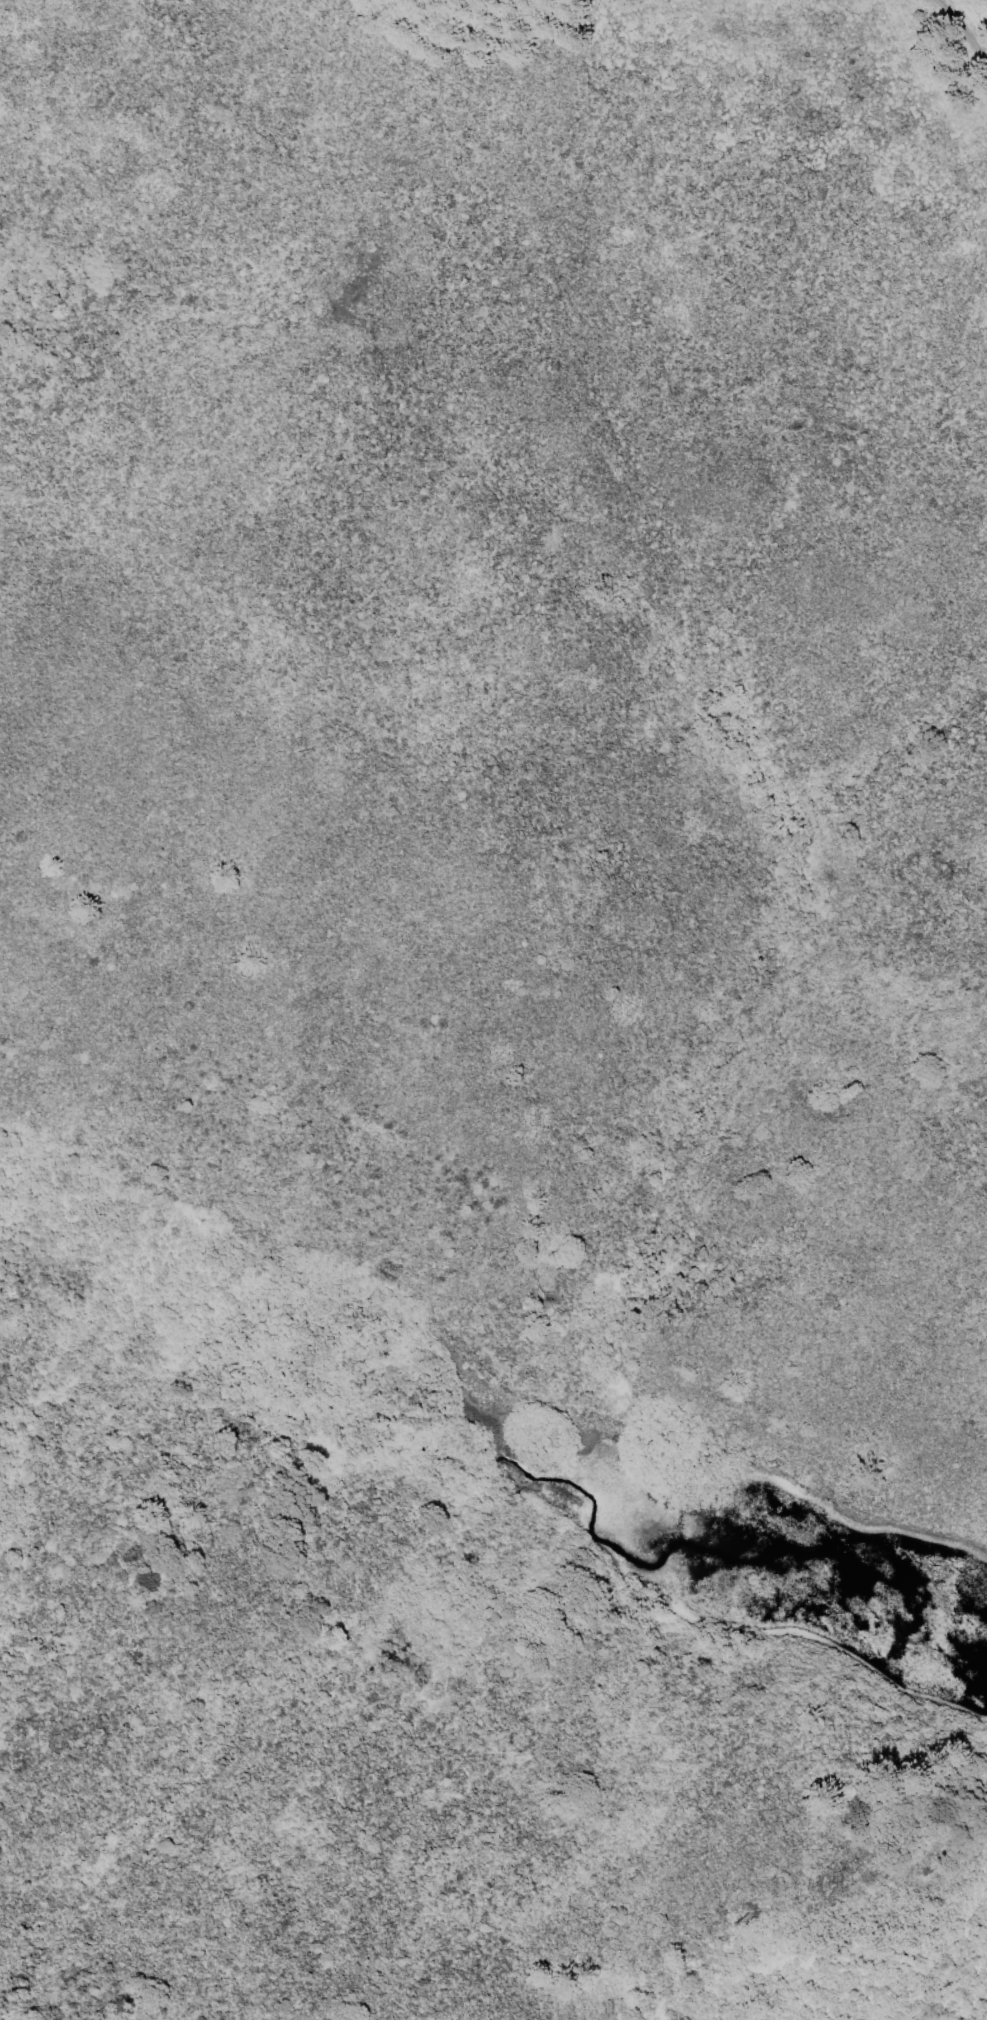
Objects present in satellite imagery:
road: (967, 30)

